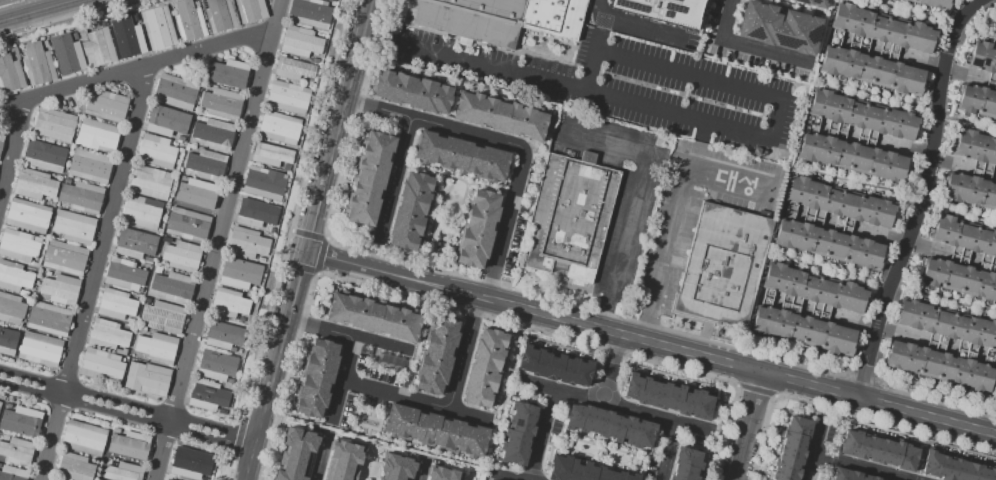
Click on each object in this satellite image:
building: (332, 0)
building: (809, 3)
building: (932, 4)
building: (660, 9)
building: (250, 10)
road: (43, 12)
building: (310, 13)
road: (732, 13)
building: (219, 15)
building: (135, 16)
building: (553, 17)
building: (468, 19)
building: (188, 21)
road: (633, 26)
building: (995, 26)
building: (158, 27)
building: (776, 27)
building: (883, 28)
building: (75, 36)
building: (126, 37)
building: (300, 41)
building: (45, 43)
building: (97, 45)
road: (358, 51)
building: (67, 54)
building: (982, 57)
building: (218, 59)
building: (315, 60)
road: (474, 62)
building: (36, 63)
road: (137, 69)
building: (293, 69)
building: (872, 71)
building: (227, 73)
building: (10, 74)
building: (995, 81)
building: (175, 92)
building: (412, 92)
building: (288, 97)
building: (976, 101)
road: (772, 102)
building: (222, 104)
building: (106, 106)
building: (863, 115)
building: (502, 116)
building: (164, 121)
building: (54, 125)
building: (279, 128)
building: (214, 134)
building: (97, 136)
building: (1, 140)
road: (510, 144)
building: (190, 146)
building: (975, 147)
road: (14, 152)
building: (156, 152)
building: (44, 155)
building: (271, 155)
building: (461, 156)
building: (852, 157)
building: (206, 164)
building: (89, 166)
building: (286, 168)
road: (686, 173)
road: (643, 176)
road: (324, 177)
building: (370, 178)
building: (67, 180)
building: (150, 182)
building: (264, 183)
road: (392, 183)
building: (35, 184)
building: (970, 190)
building: (197, 195)
road: (923, 195)
building: (82, 197)
building: (49, 201)
building: (840, 202)
road: (296, 208)
building: (411, 211)
building: (141, 213)
building: (256, 213)
building: (27, 216)
building: (569, 217)
building: (188, 224)
building: (74, 227)
building: (479, 229)
building: (963, 236)
building: (163, 238)
building: (169, 239)
road: (218, 239)
building: (135, 243)
building: (247, 243)
building: (828, 244)
building: (19, 245)
road: (320, 255)
building: (181, 256)
building: (65, 258)
building: (148, 260)
building: (722, 265)
road: (94, 273)
building: (237, 273)
building: (124, 274)
building: (15, 276)
building: (959, 279)
building: (173, 286)
flagpole: (330, 286)
building: (58, 288)
building: (815, 288)
flagpole: (324, 289)
flagpole: (319, 293)
road: (652, 301)
building: (228, 303)
building: (115, 304)
road: (607, 308)
building: (12, 309)
road: (537, 312)
building: (163, 317)
building: (374, 318)
building: (49, 319)
building: (947, 323)
building: (804, 330)
building: (108, 335)
building: (224, 336)
road: (351, 336)
building: (8, 341)
building: (157, 347)
building: (40, 349)
road: (462, 352)
building: (437, 355)
building: (216, 365)
road: (274, 365)
building: (102, 366)
building: (554, 366)
building: (939, 367)
road: (613, 368)
building: (485, 369)
building: (317, 378)
building: (147, 379)
road: (338, 379)
building: (115, 387)
parking lot: (995, 394)
building: (207, 395)
building: (668, 397)
road: (417, 400)
road: (931, 400)
building: (0, 402)
road: (882, 403)
road: (614, 404)
road: (127, 409)
building: (21, 422)
building: (610, 426)
road: (754, 427)
building: (435, 431)
building: (518, 434)
road: (542, 434)
building: (83, 437)
road: (237, 440)
building: (129, 443)
building: (791, 449)
road: (814, 449)
road: (660, 450)
building: (17, 451)
building: (878, 451)
building: (296, 455)
road: (322, 455)
building: (344, 461)
building: (190, 463)
building: (686, 464)
building: (75, 467)
road: (423, 467)
road: (856, 467)
building: (397, 468)
building: (954, 468)
building: (583, 471)
building: (123, 472)
building: (12, 473)
building: (444, 474)
building: (849, 475)
building: (49, 479)
building: (52, 479)
building: (168, 479)

